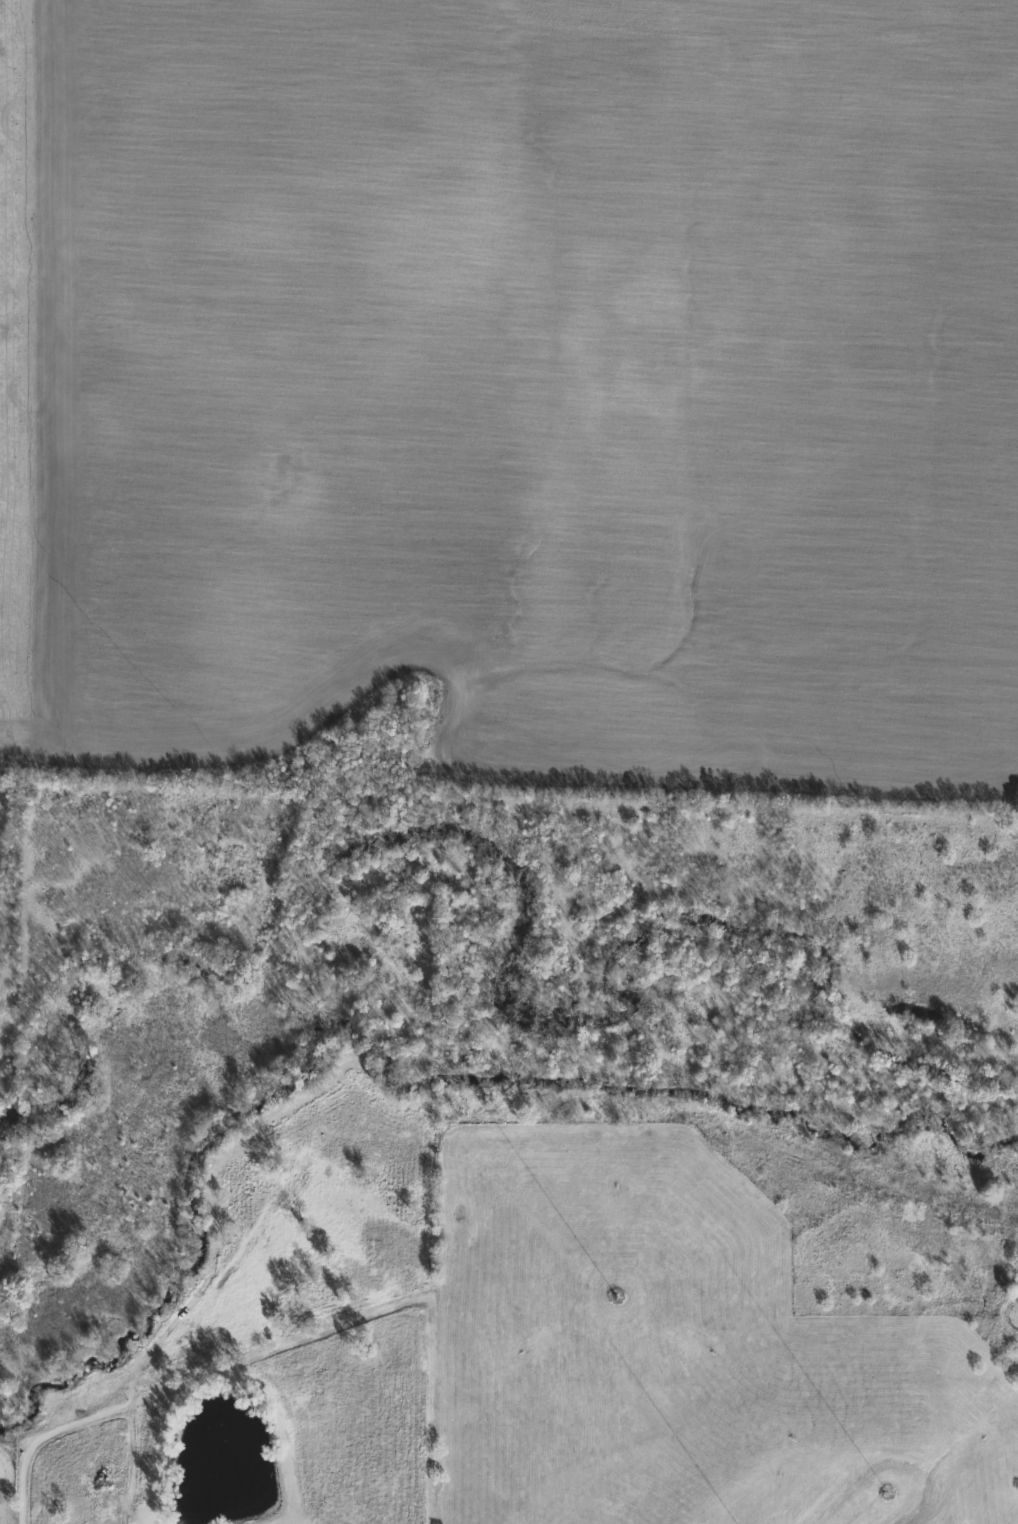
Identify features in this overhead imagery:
crop: (514, 395)

